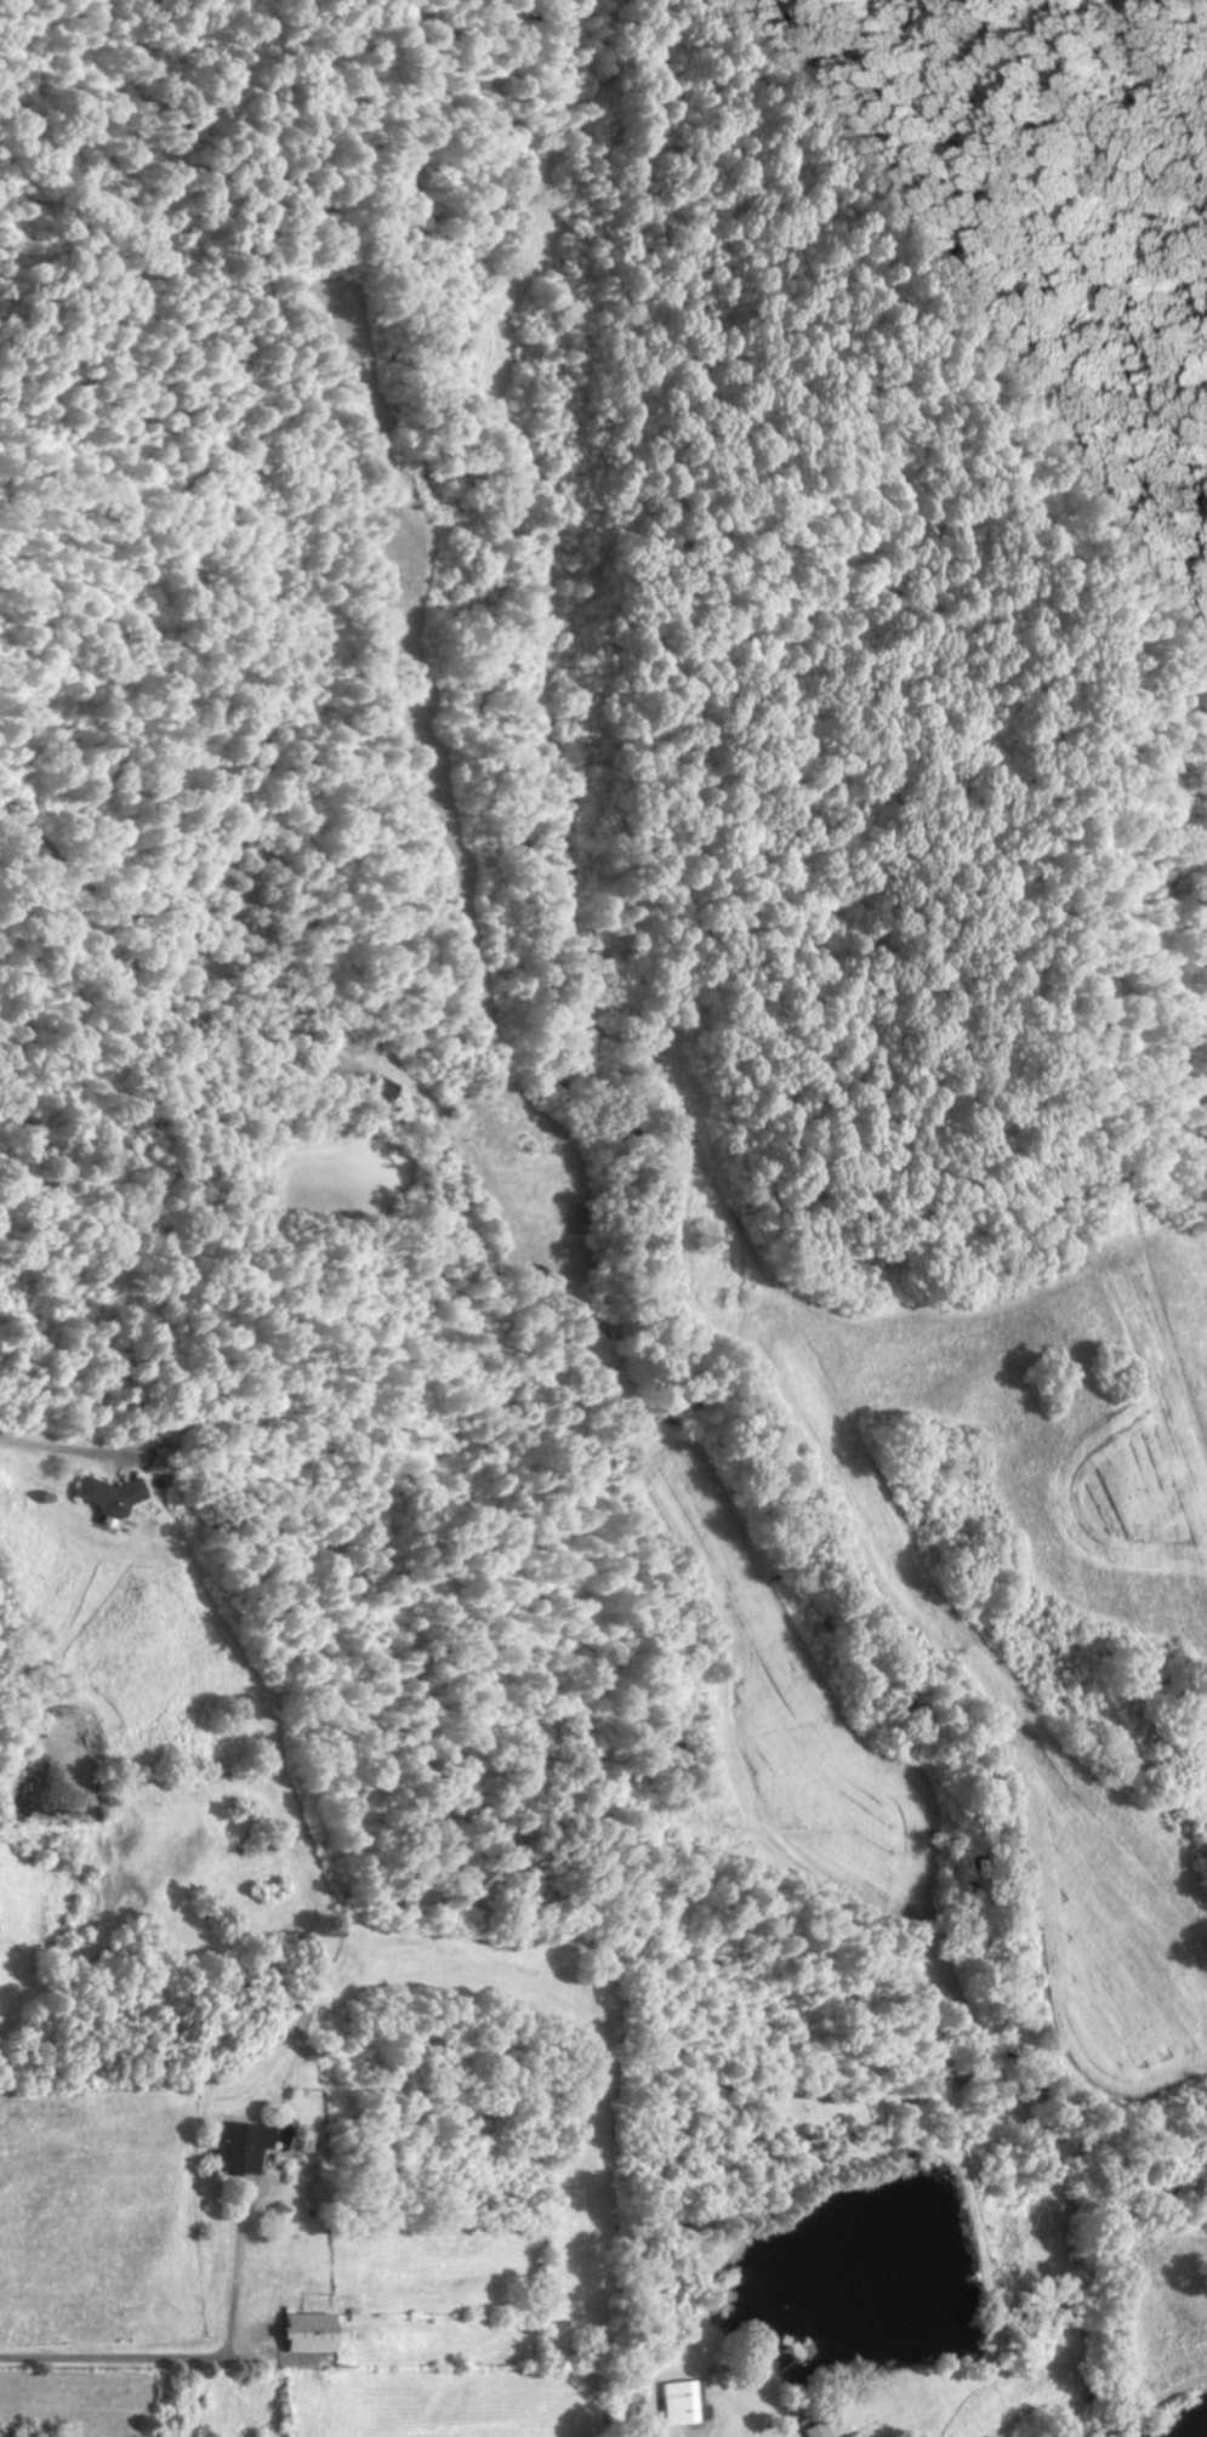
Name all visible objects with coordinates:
building: (378, 1089)
road: (50, 1450)
road: (906, 1820)
building: (233, 2147)
building: (296, 2333)
road: (186, 2357)
building: (670, 2402)
road: (1152, 2405)
building: (813, 2430)
road: (1093, 2432)
building: (849, 2435)

